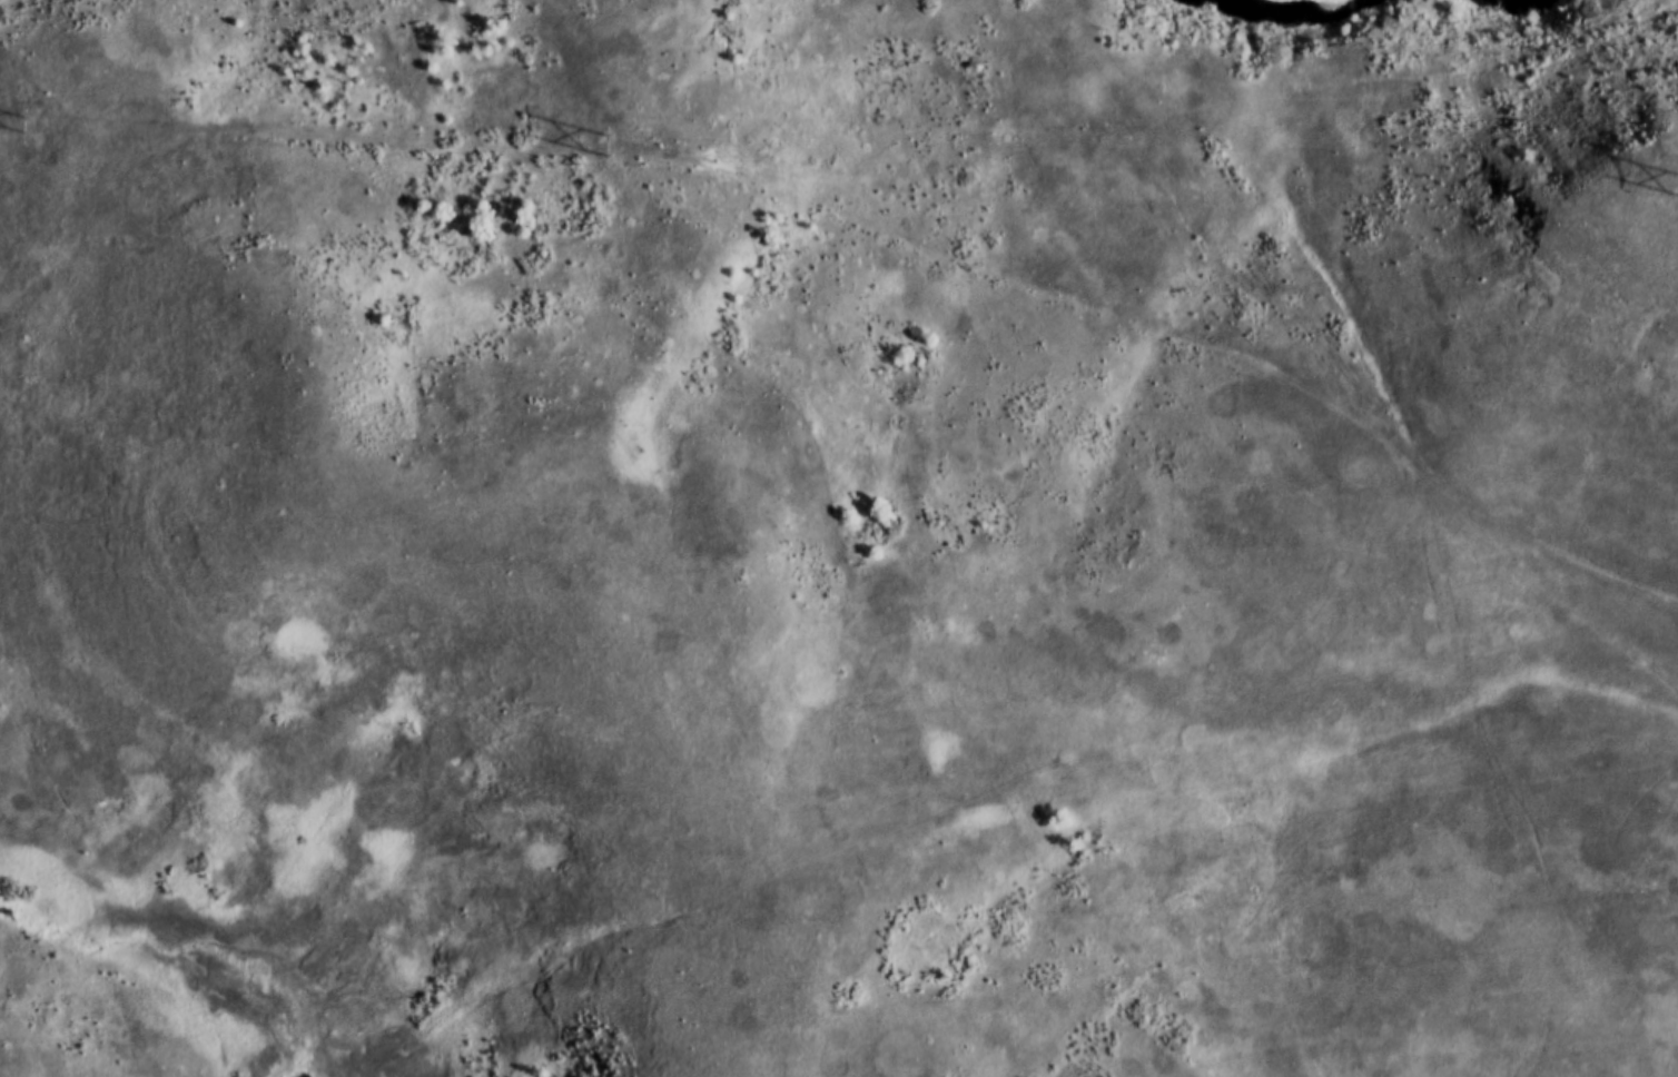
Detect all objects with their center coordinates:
power tower: (30, 135)
power tower: (604, 152)
power tower: (1677, 188)

